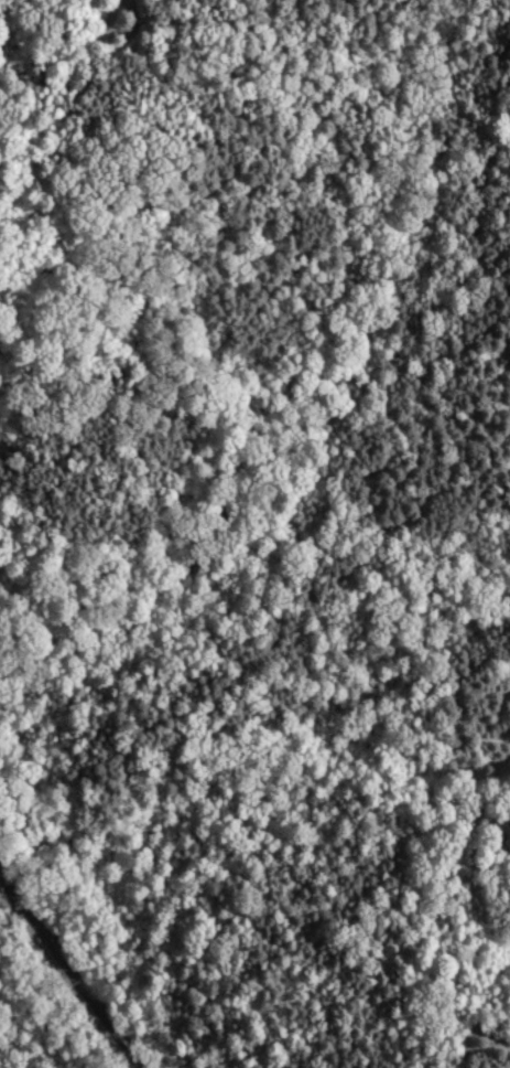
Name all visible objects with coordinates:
road: (40, 68)
road: (259, 276)
railway: (68, 974)

